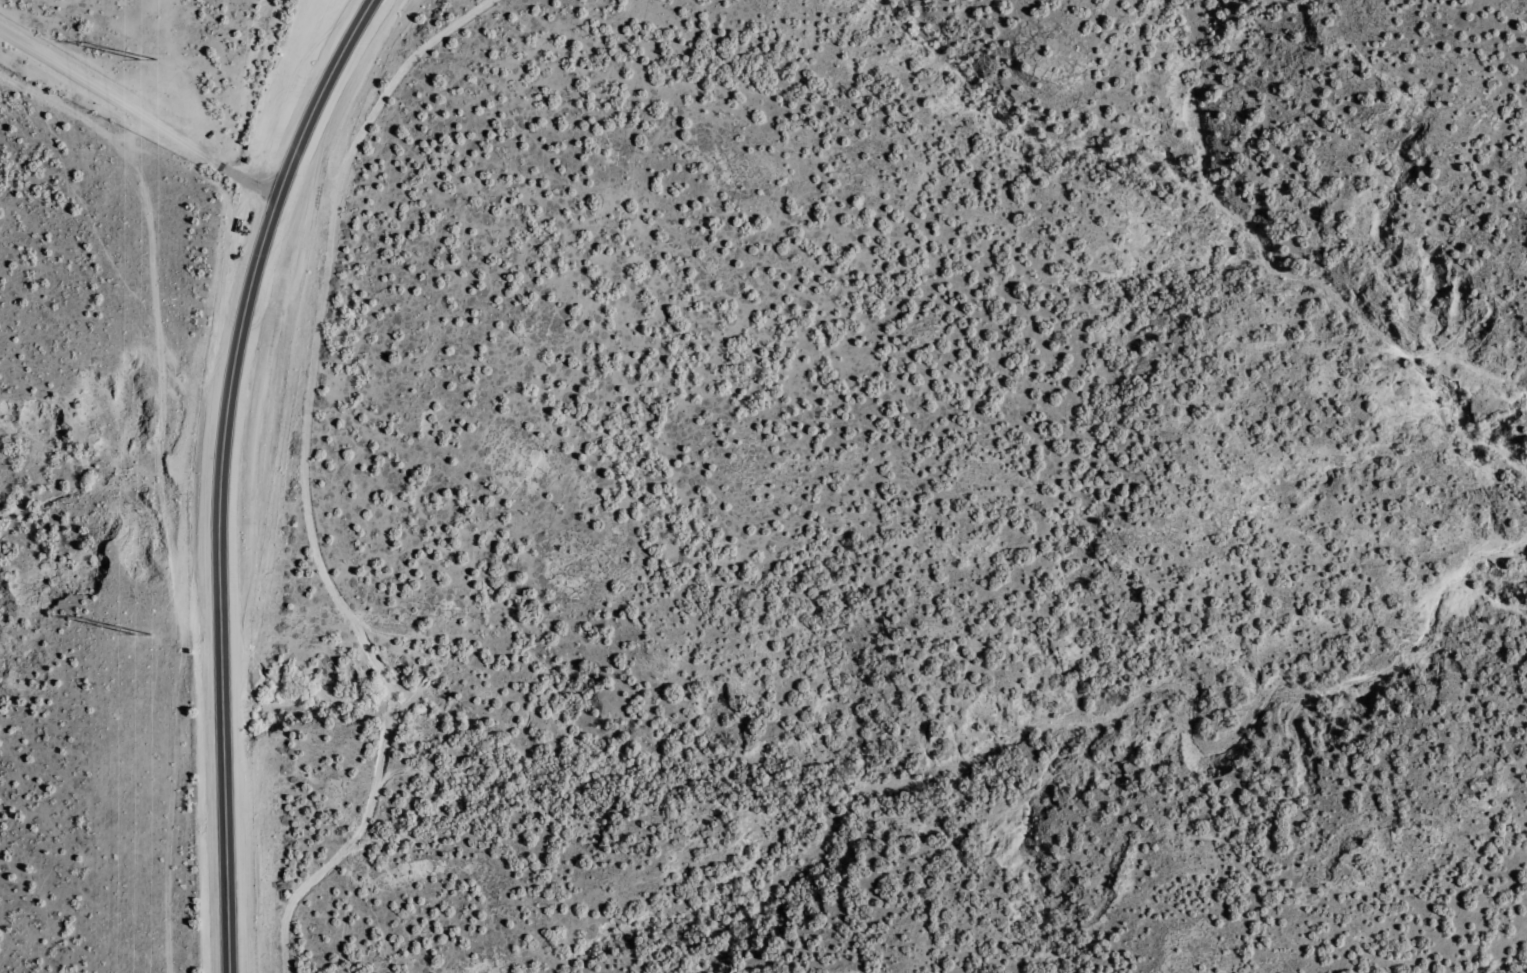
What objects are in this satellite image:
power tower: (147, 60)
road: (161, 125)
road: (240, 482)
power tower: (142, 634)

